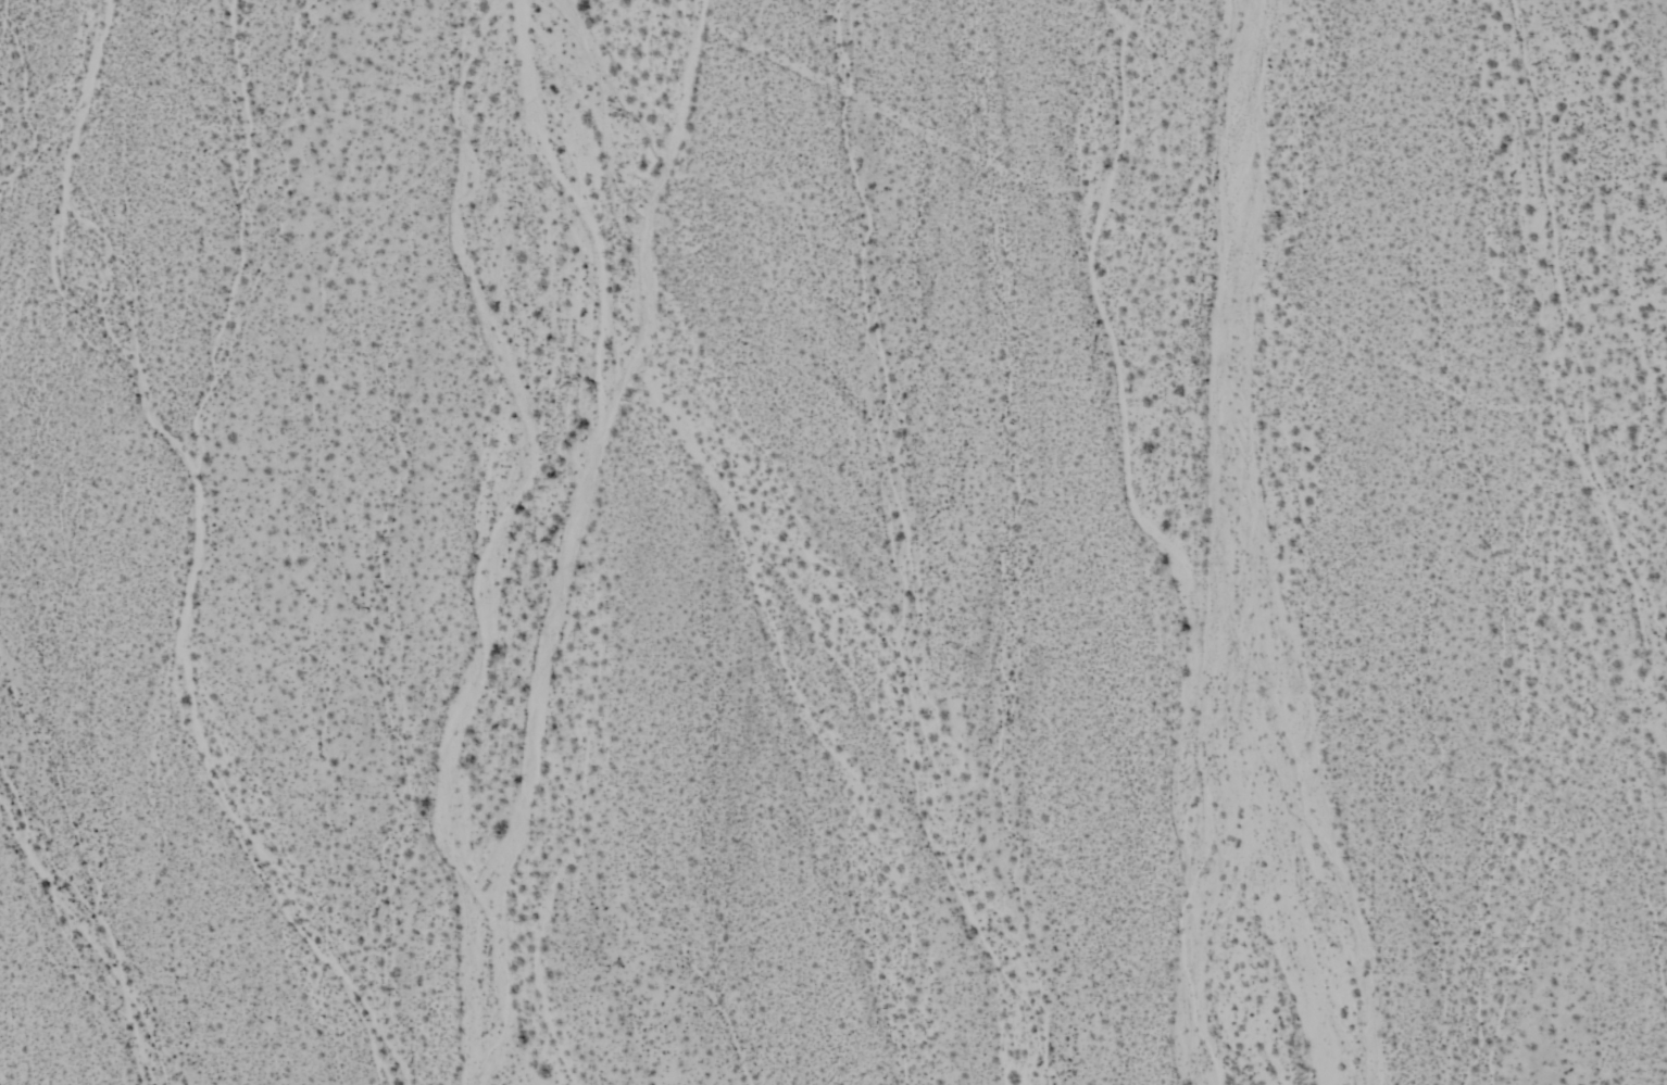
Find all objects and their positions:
road: (1173, 266)

